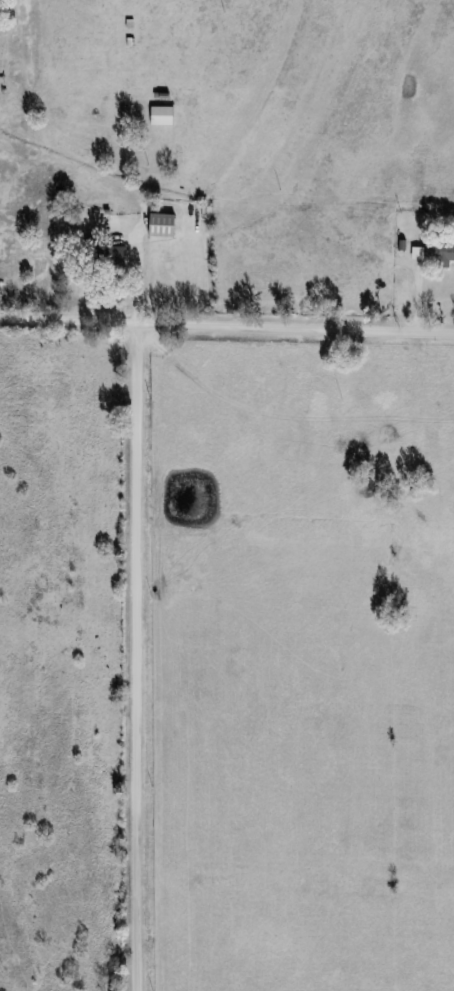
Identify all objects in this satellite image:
building: (159, 115)
building: (159, 224)
building: (438, 251)
building: (106, 257)
road: (132, 274)
road: (421, 291)
road: (227, 328)
road: (137, 657)

